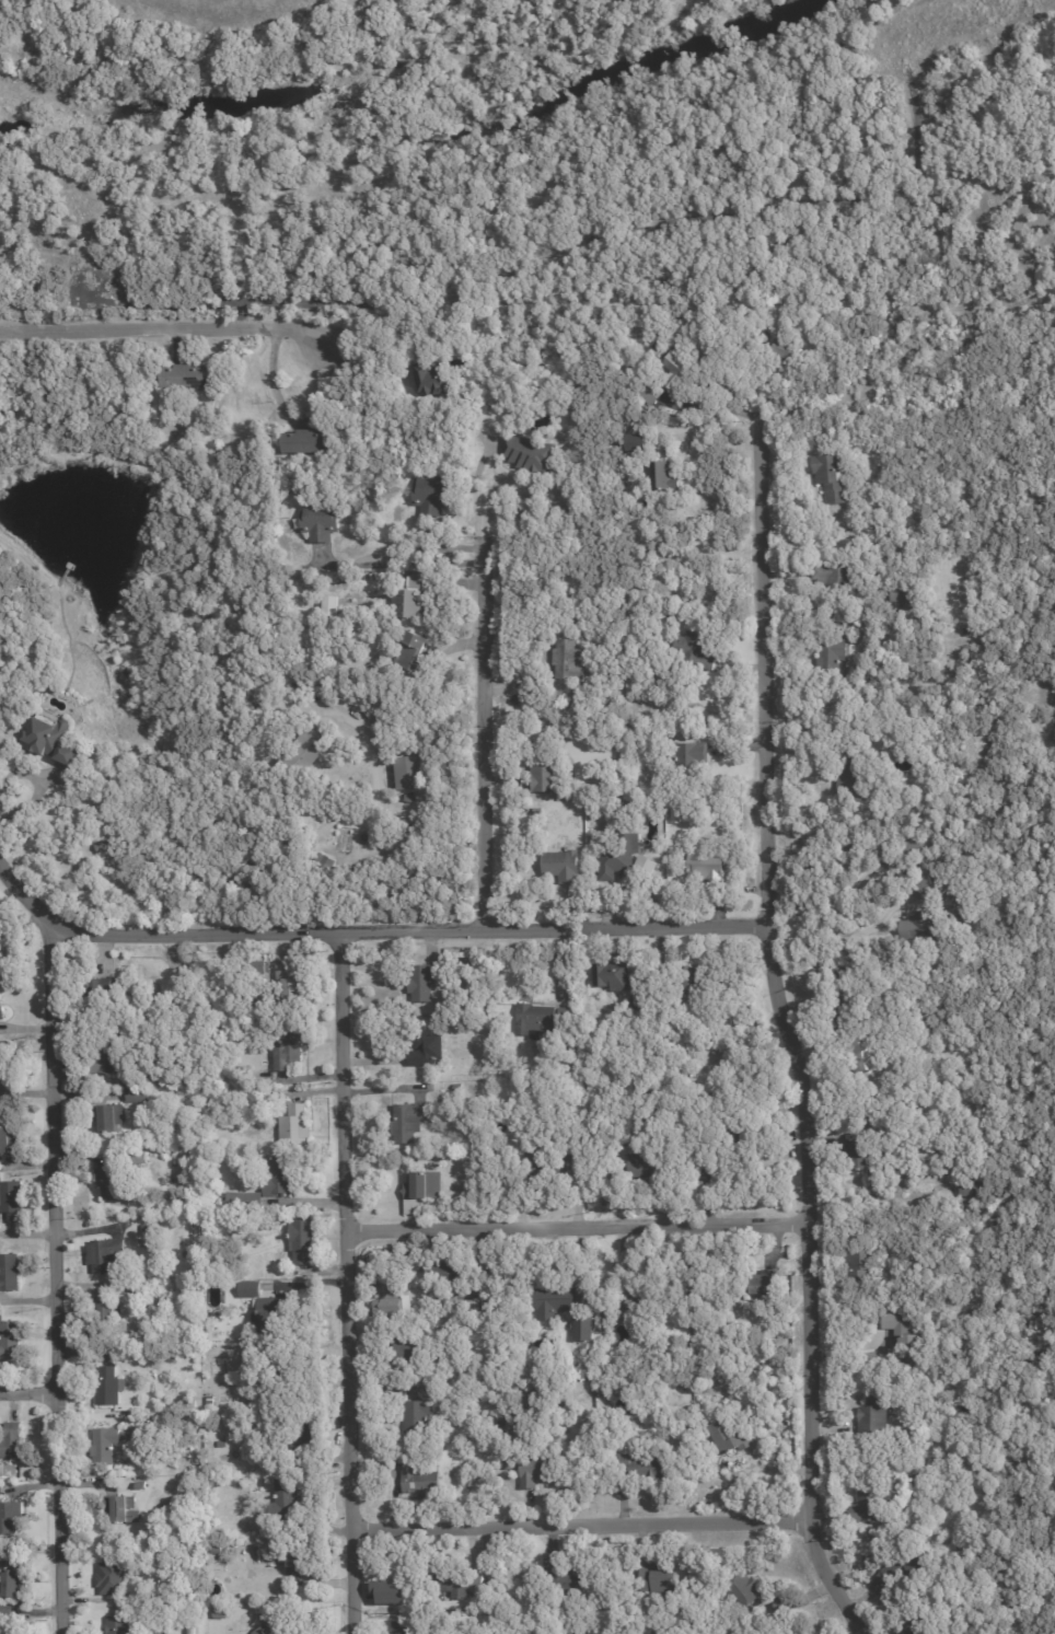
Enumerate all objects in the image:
building: (31, 2)
building: (5, 19)
road: (160, 324)
road: (379, 327)
building: (746, 340)
building: (734, 344)
building: (785, 351)
building: (184, 374)
road: (274, 374)
building: (428, 378)
building: (670, 379)
building: (649, 391)
building: (127, 397)
building: (631, 440)
building: (306, 443)
building: (531, 454)
building: (217, 456)
building: (831, 475)
building: (663, 476)
building: (433, 496)
building: (321, 522)
road: (402, 563)
building: (298, 567)
building: (838, 576)
building: (908, 594)
building: (694, 601)
building: (332, 605)
building: (410, 605)
building: (925, 614)
building: (855, 634)
building: (305, 636)
building: (693, 649)
building: (414, 653)
building: (832, 654)
building: (567, 658)
building: (902, 733)
road: (482, 739)
building: (51, 743)
building: (300, 753)
building: (692, 753)
building: (410, 772)
building: (546, 773)
building: (854, 776)
building: (283, 785)
road: (380, 815)
building: (919, 845)
building: (625, 858)
building: (317, 859)
building: (563, 864)
building: (710, 864)
building: (926, 886)
building: (923, 925)
road: (373, 926)
road: (860, 930)
building: (613, 975)
building: (698, 980)
building: (424, 982)
building: (290, 987)
building: (844, 987)
building: (726, 990)
building: (98, 996)
building: (637, 1001)
building: (1, 1015)
building: (567, 1015)
building: (535, 1018)
road: (789, 1034)
building: (290, 1047)
building: (427, 1050)
building: (863, 1053)
building: (572, 1059)
building: (106, 1061)
building: (156, 1064)
building: (7, 1065)
building: (459, 1087)
building: (136, 1097)
building: (749, 1106)
building: (105, 1119)
building: (409, 1121)
building: (295, 1126)
building: (744, 1127)
building: (8, 1143)
building: (575, 1148)
building: (862, 1155)
building: (138, 1159)
building: (645, 1164)
building: (710, 1167)
building: (540, 1168)
building: (278, 1178)
building: (112, 1183)
building: (418, 1186)
building: (970, 1190)
building: (245, 1201)
building: (12, 1202)
building: (175, 1204)
road: (576, 1222)
building: (146, 1229)
building: (303, 1233)
building: (105, 1255)
building: (862, 1264)
building: (9, 1274)
building: (447, 1274)
road: (55, 1276)
road: (346, 1279)
building: (767, 1284)
building: (250, 1289)
building: (128, 1290)
building: (396, 1299)
building: (555, 1301)
building: (635, 1303)
building: (473, 1307)
building: (106, 1311)
building: (375, 1312)
building: (270, 1314)
building: (583, 1328)
building: (902, 1331)
building: (10, 1341)
building: (410, 1354)
building: (108, 1388)
building: (604, 1391)
road: (28, 1393)
building: (260, 1398)
building: (198, 1402)
building: (891, 1402)
building: (417, 1416)
building: (874, 1421)
building: (306, 1433)
building: (688, 1433)
building: (730, 1437)
building: (461, 1438)
building: (11, 1442)
building: (222, 1444)
building: (105, 1446)
building: (647, 1468)
building: (530, 1470)
building: (918, 1480)
building: (420, 1482)
building: (243, 1483)
building: (140, 1486)
building: (927, 1498)
building: (282, 1500)
building: (869, 1504)
building: (123, 1510)
building: (10, 1519)
road: (580, 1519)
building: (219, 1551)
building: (297, 1558)
building: (906, 1567)
building: (112, 1578)
building: (461, 1581)
building: (660, 1581)
building: (565, 1583)
building: (12, 1586)
building: (389, 1590)
building: (625, 1590)
building: (744, 1592)
building: (487, 1603)
building: (606, 1603)
building: (781, 1604)
building: (118, 1626)
building: (912, 1627)
building: (190, 1629)
building: (403, 1629)
building: (271, 1631)

